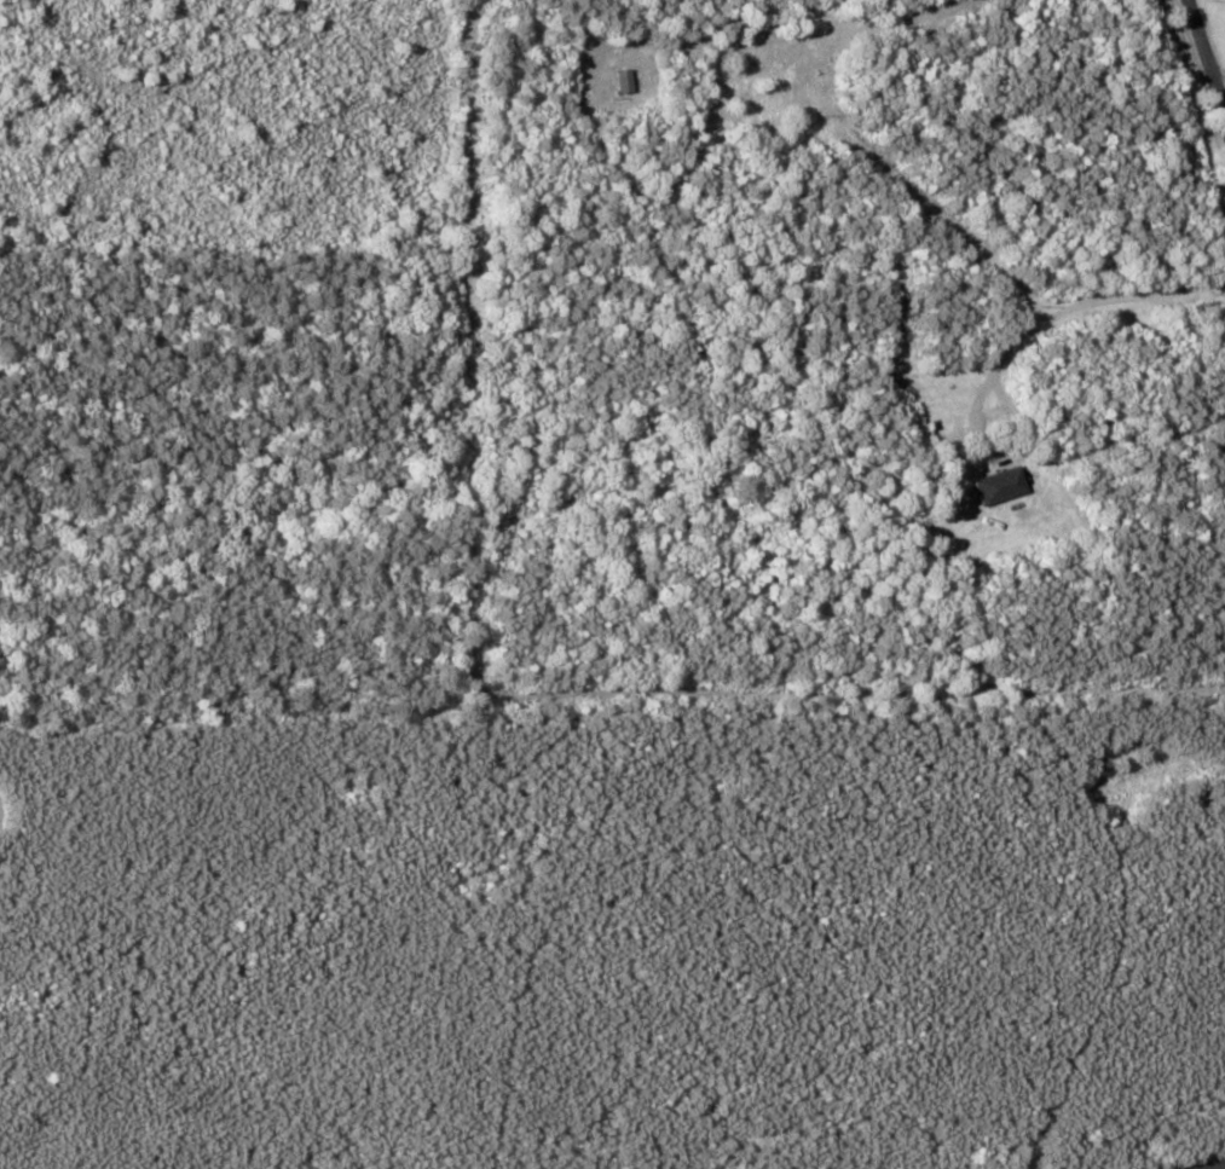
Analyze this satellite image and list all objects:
road: (1208, 44)
building: (1001, 486)

